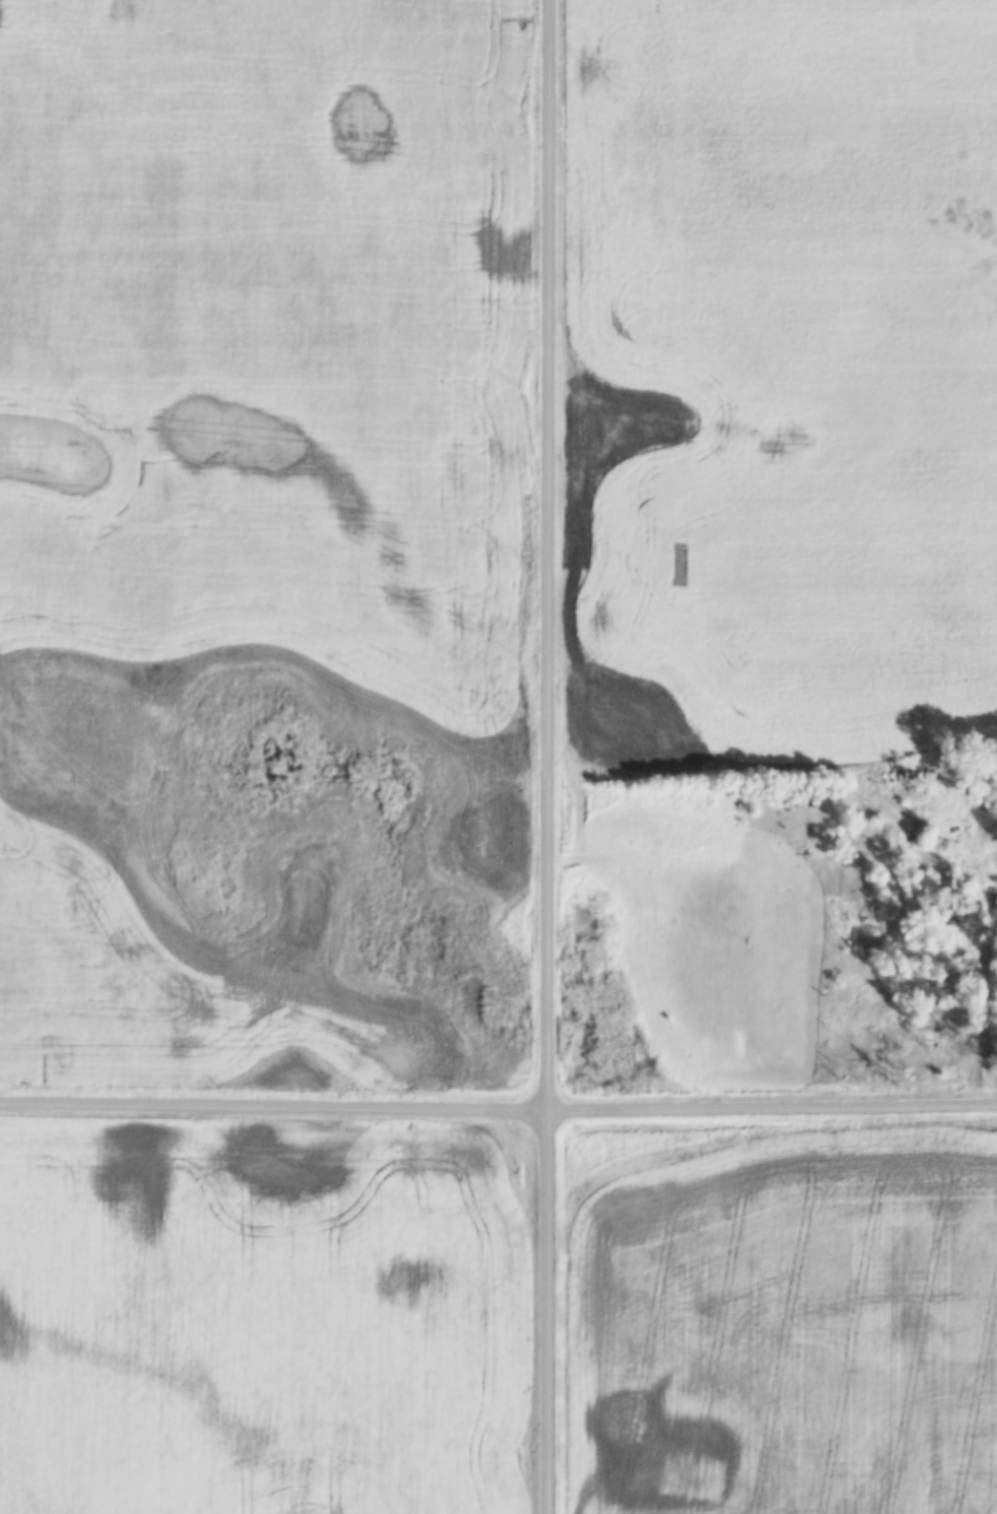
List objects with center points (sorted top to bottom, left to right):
road: (550, 757)
building: (950, 894)
building: (993, 903)
road: (498, 1113)

